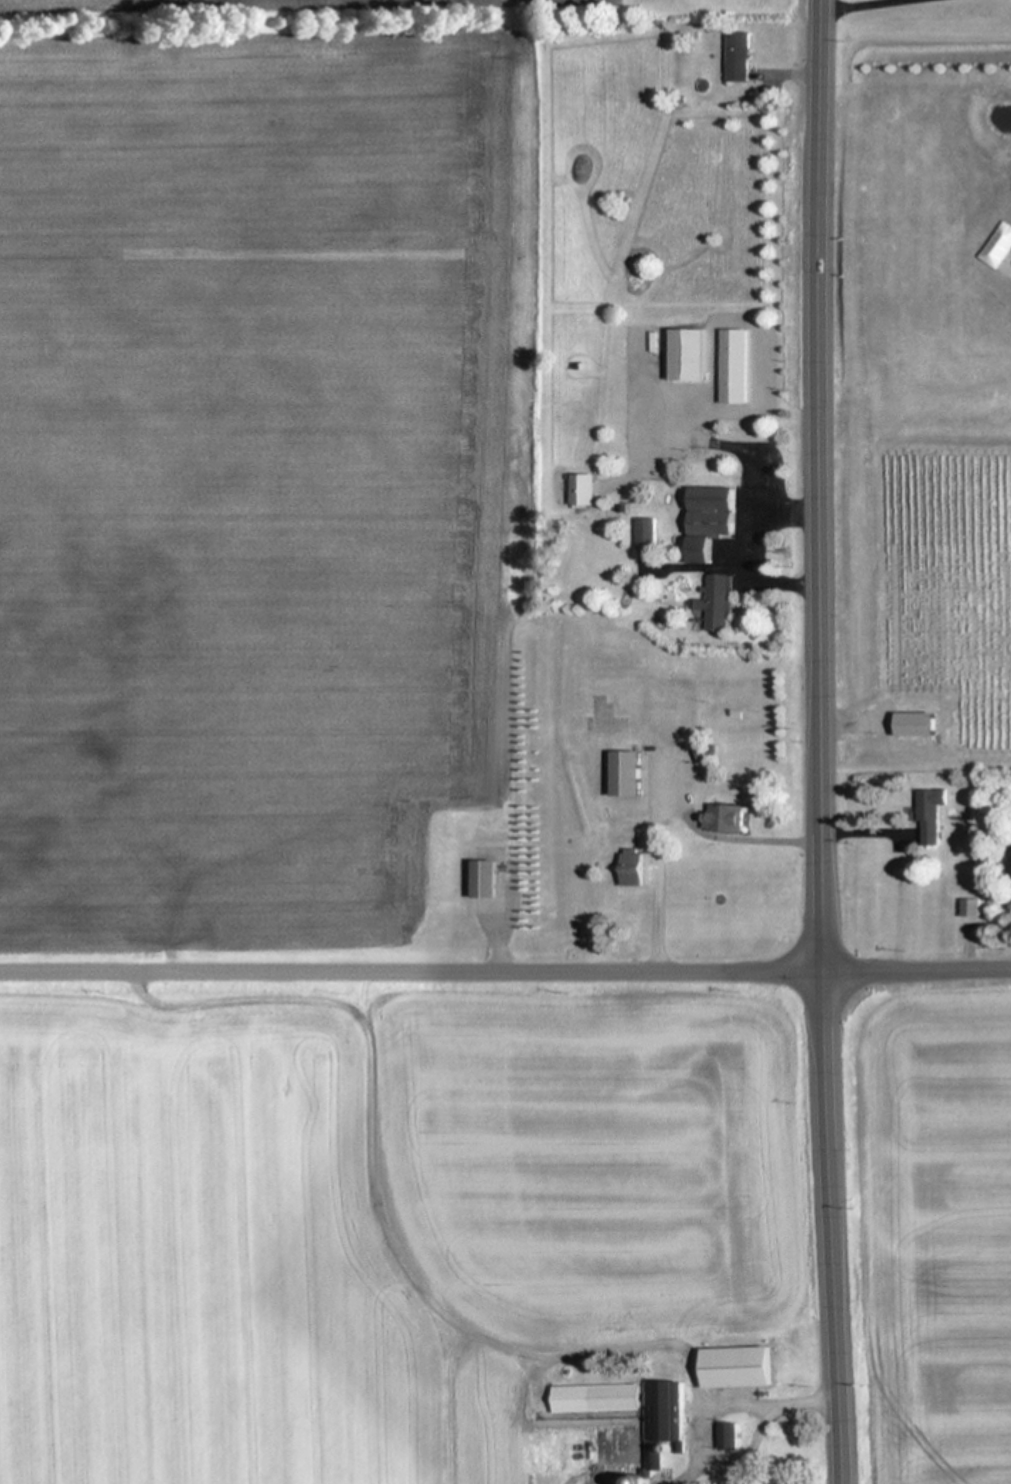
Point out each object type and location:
building: (738, 55)
building: (688, 354)
building: (733, 365)
building: (583, 489)
building: (709, 519)
building: (646, 533)
building: (718, 603)
building: (914, 724)
road: (821, 742)
building: (626, 773)
road: (669, 805)
building: (929, 815)
building: (726, 818)
building: (1010, 856)
building: (633, 868)
building: (484, 879)
building: (971, 907)
road: (918, 970)
road: (413, 972)
building: (738, 1366)
building: (598, 1398)
building: (666, 1412)
building: (730, 1436)

